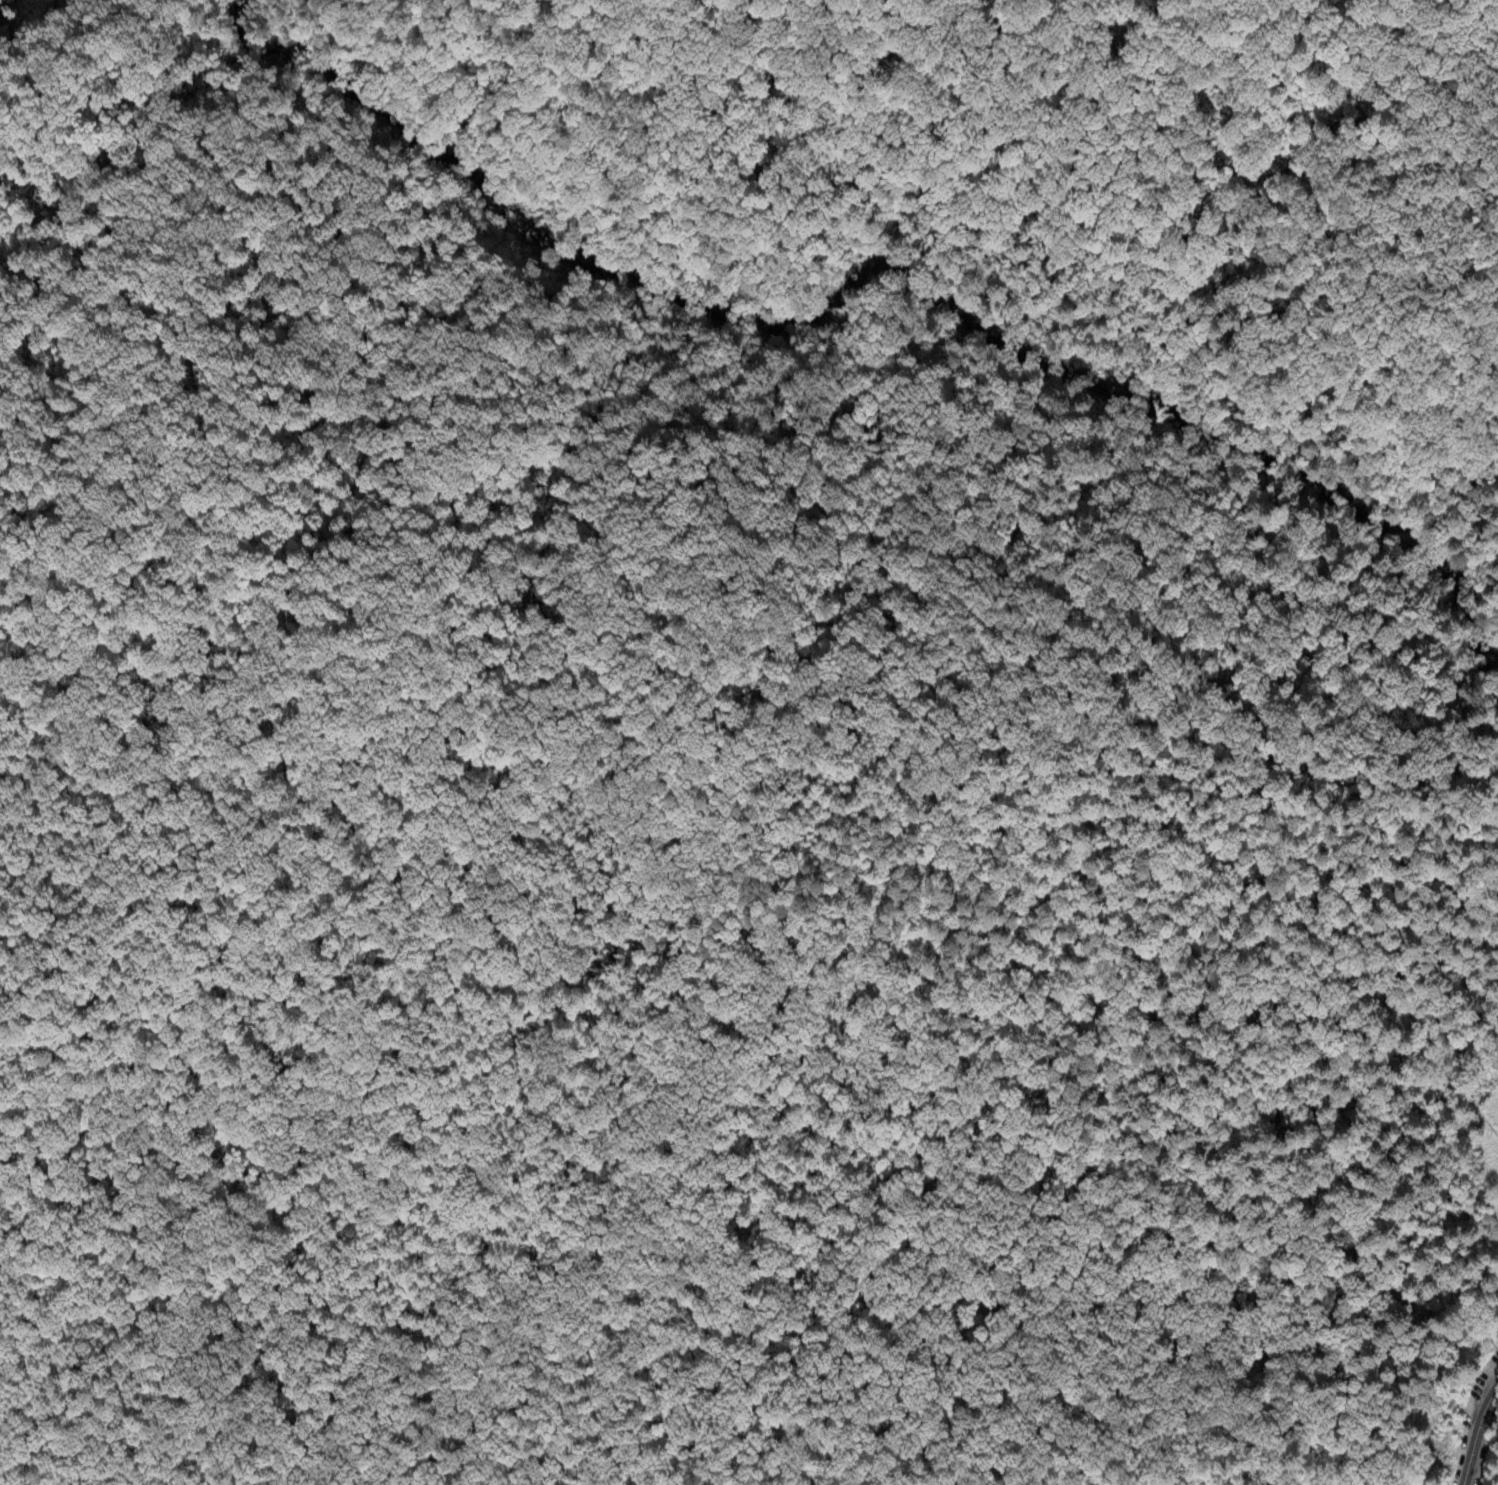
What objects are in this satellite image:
road: (1044, 144)
road: (1474, 1432)

